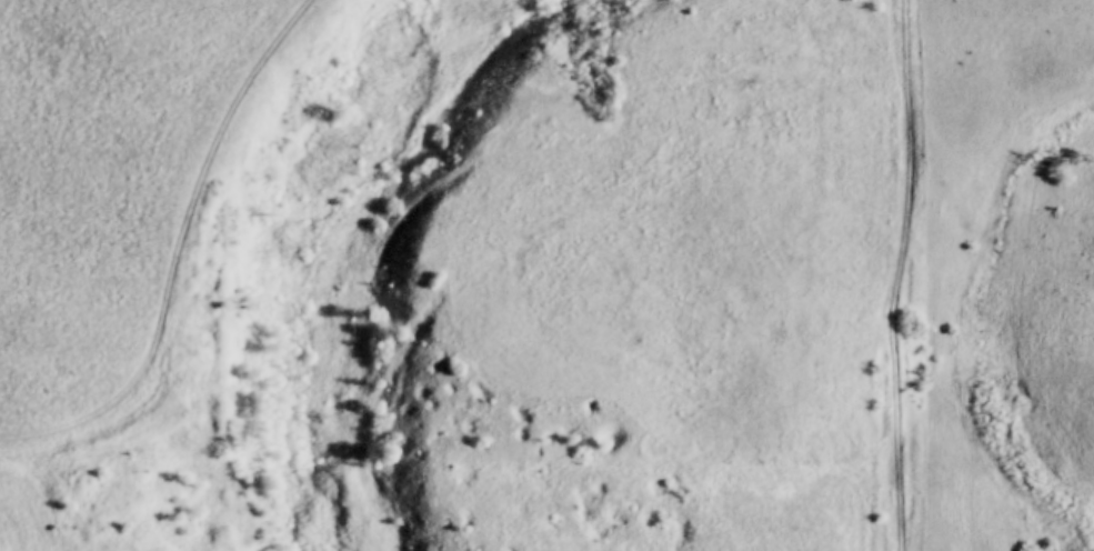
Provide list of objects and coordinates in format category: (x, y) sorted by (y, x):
road: (897, 274)

